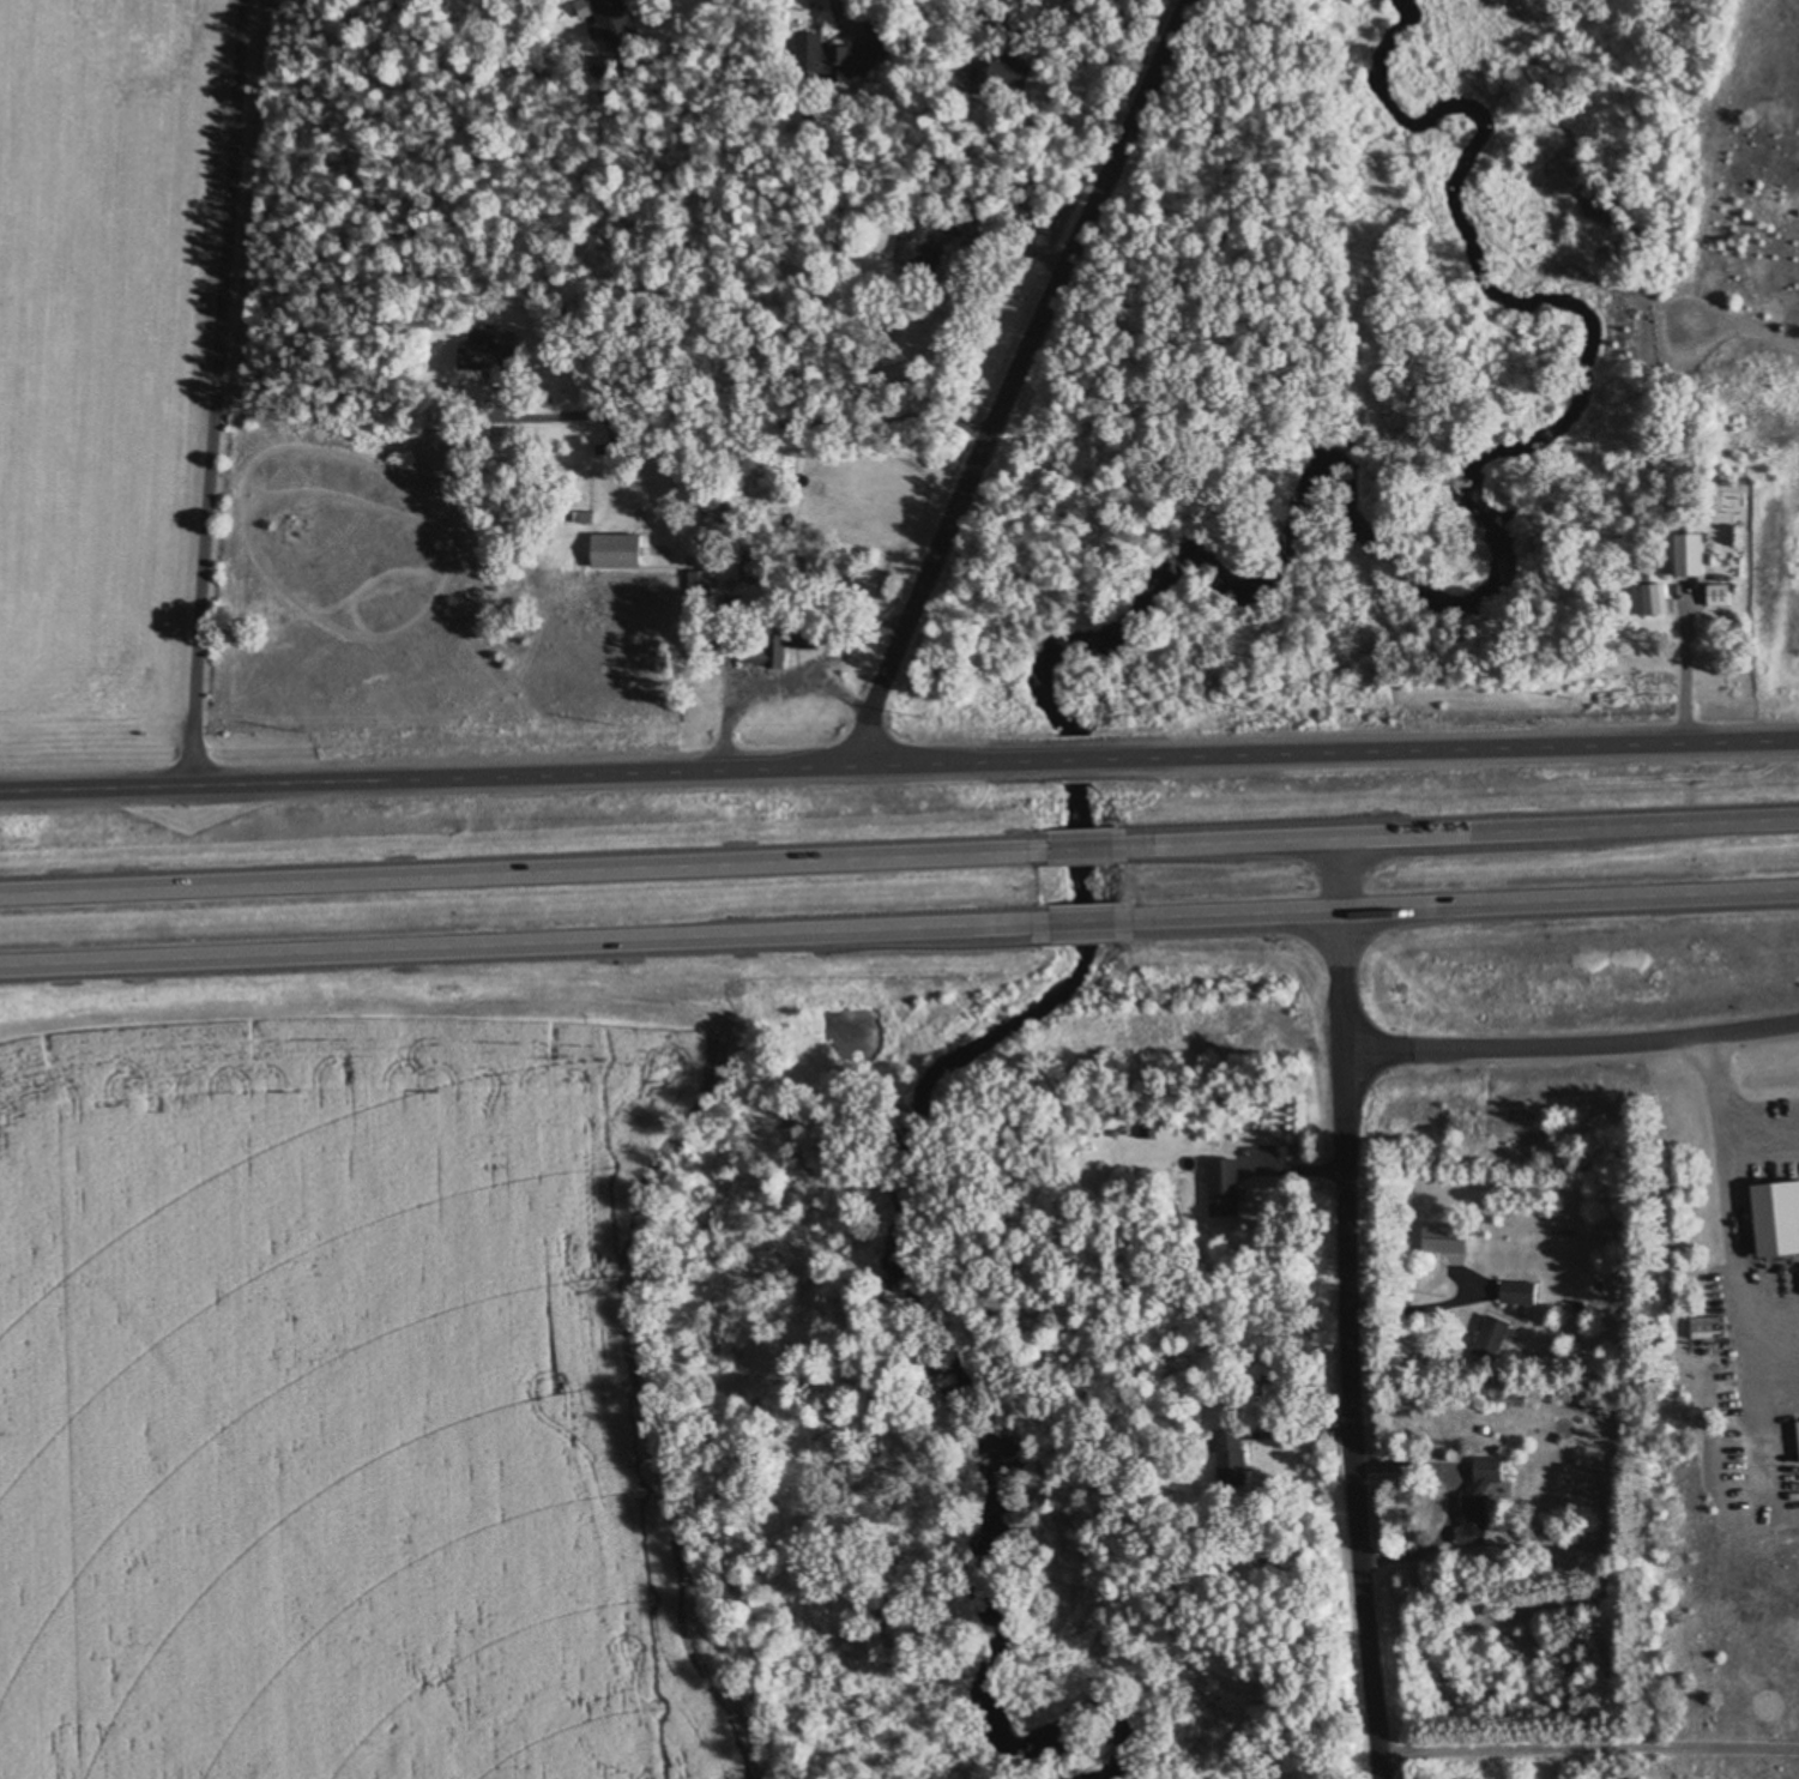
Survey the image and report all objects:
building: (608, 7)
building: (855, 58)
building: (972, 228)
building: (929, 229)
building: (485, 354)
crop: (115, 369)
road: (1015, 376)
road: (211, 393)
building: (617, 550)
building: (1680, 551)
building: (700, 590)
building: (1713, 593)
building: (1648, 597)
building: (795, 632)
road: (1685, 667)
road: (1454, 744)
road: (1071, 755)
road: (515, 774)
road: (1460, 826)
road: (1080, 843)
road: (519, 867)
building: (1727, 884)
road: (1466, 907)
road: (1089, 922)
road: (523, 948)
road: (1570, 1045)
road: (1723, 1096)
building: (1145, 1129)
building: (1227, 1187)
building: (1771, 1217)
building: (1453, 1237)
building: (1516, 1292)
road: (1419, 1298)
road: (1346, 1304)
crop: (344, 1382)
building: (1234, 1440)
building: (1481, 1502)
road: (1587, 1744)

